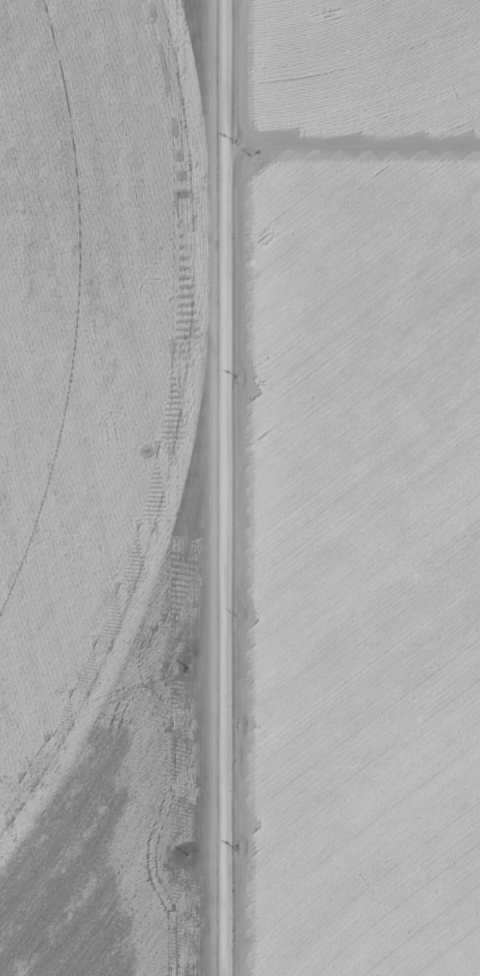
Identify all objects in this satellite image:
road: (222, 488)

